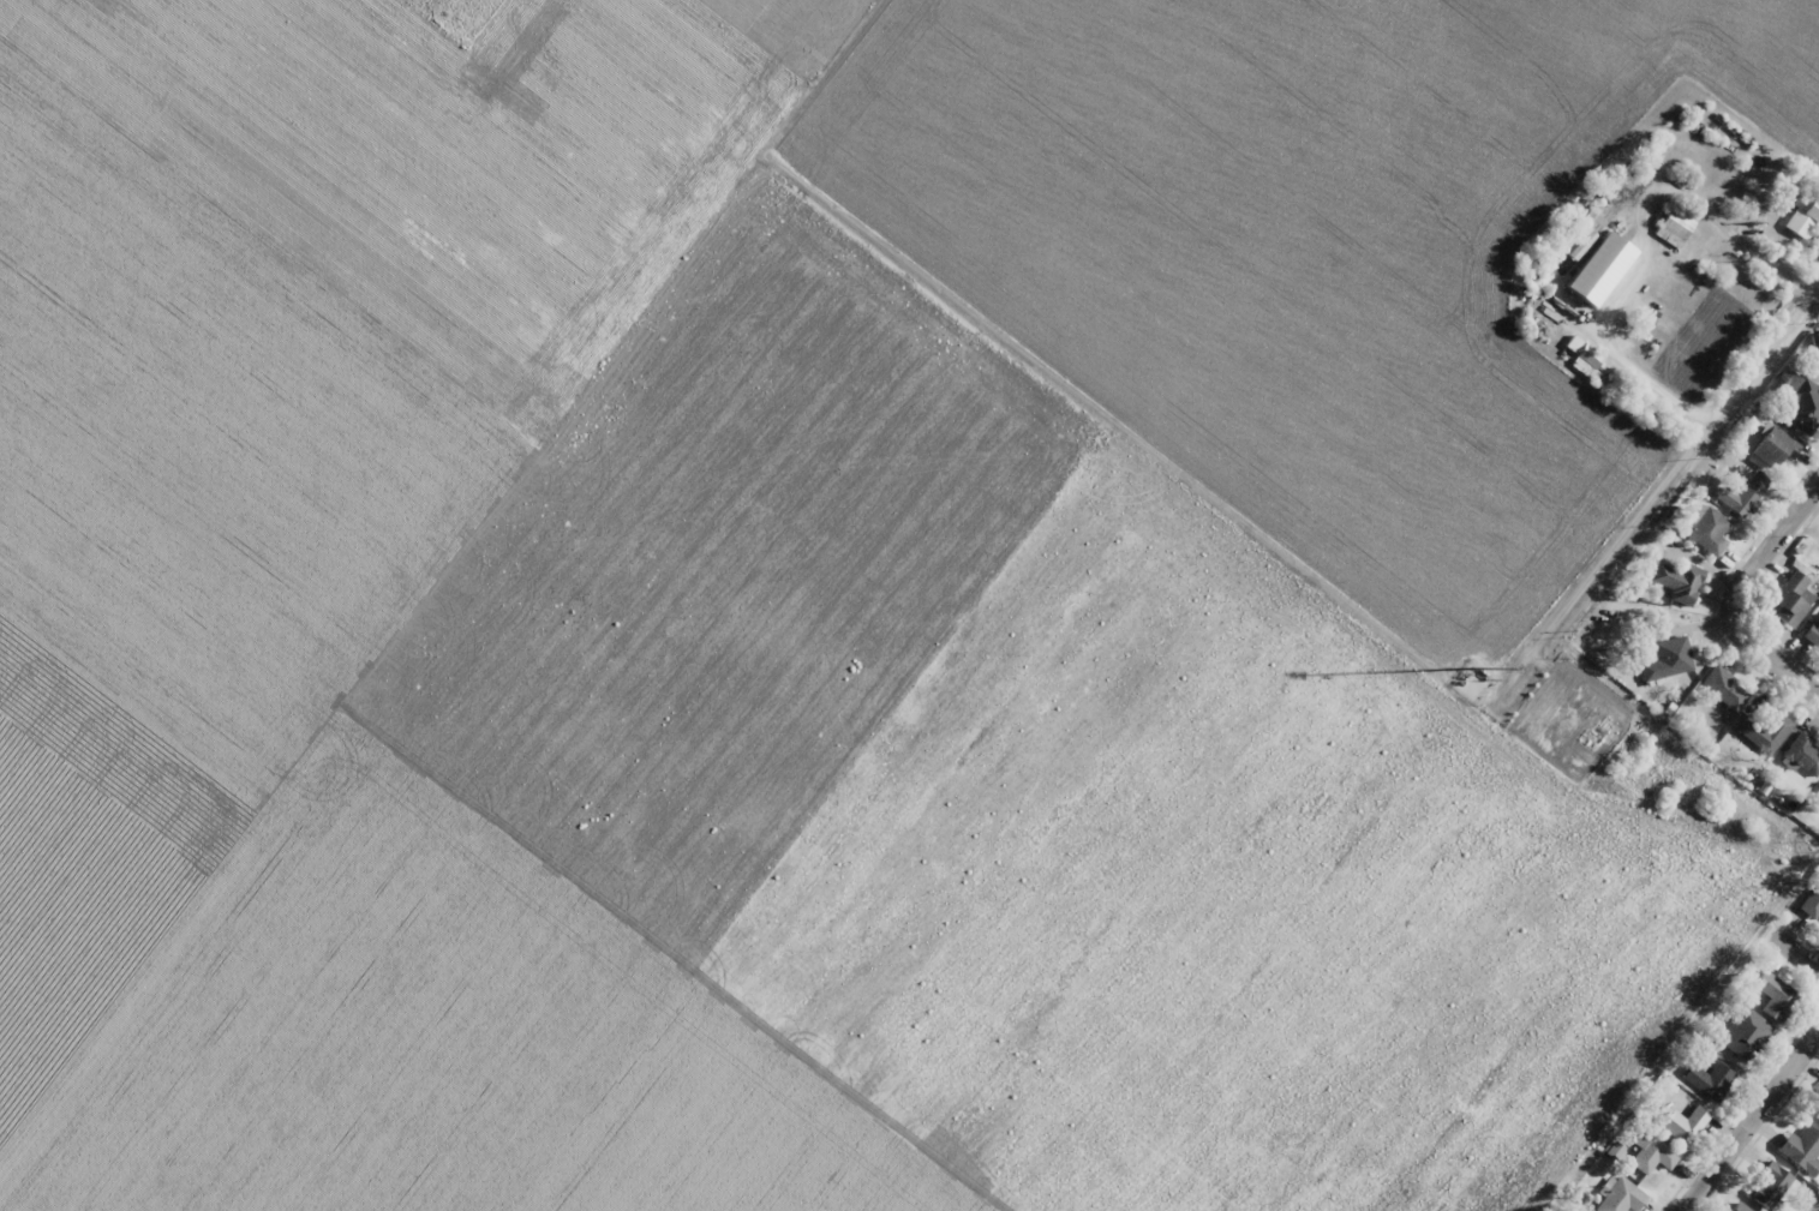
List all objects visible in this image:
road: (10, 151)
building: (1803, 216)
building: (1674, 226)
building: (1599, 270)
building: (1801, 407)
building: (1775, 448)
road: (1671, 464)
building: (1742, 493)
building: (1706, 529)
building: (1679, 581)
building: (1791, 599)
road: (1736, 601)
crop: (818, 605)
building: (1813, 634)
building: (1668, 659)
building: (1724, 689)
building: (1765, 729)
building: (1801, 755)
building: (1812, 904)
road: (1808, 958)
building: (1772, 995)
building: (1745, 1035)
building: (1711, 1081)
building: (1815, 1111)
building: (1685, 1125)
road: (1758, 1134)
building: (1801, 1149)
building: (1652, 1156)
building: (1769, 1186)
building: (1620, 1198)
building: (1739, 1207)

